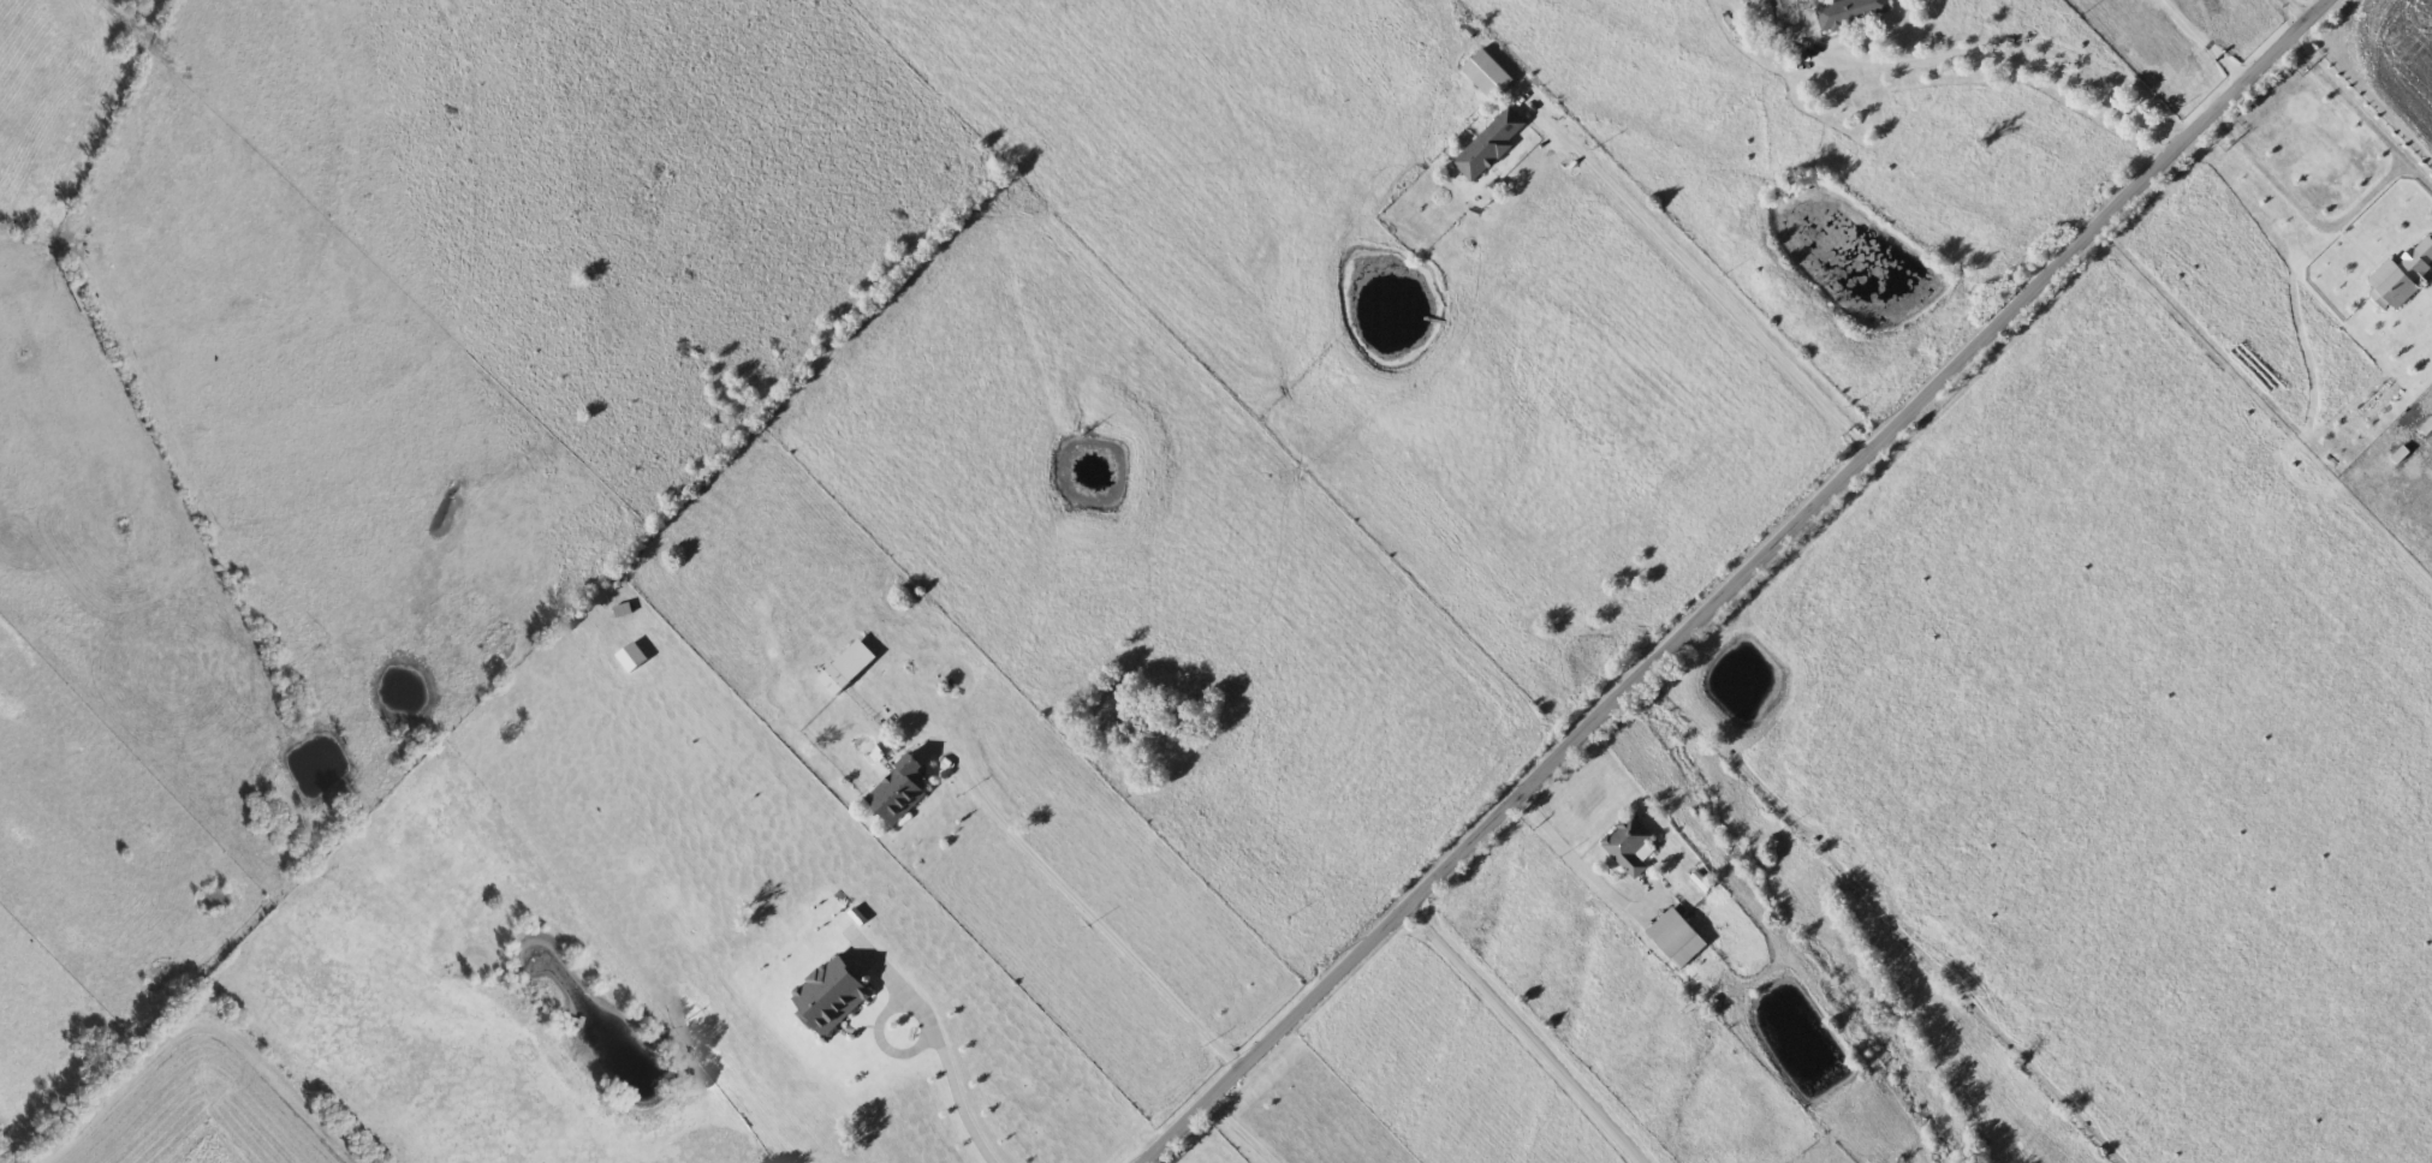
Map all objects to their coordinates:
road: (2289, 11)
building: (1854, 12)
building: (1789, 18)
road: (2198, 42)
road: (2017, 52)
building: (1493, 144)
road: (2420, 173)
road: (2371, 195)
road: (1706, 281)
road: (1730, 581)
building: (626, 612)
building: (838, 681)
building: (902, 792)
building: (1631, 847)
road: (1571, 854)
road: (1105, 925)
building: (1678, 938)
building: (833, 997)
road: (882, 1026)
road: (1517, 1033)
road: (959, 1098)
road: (1231, 1132)

